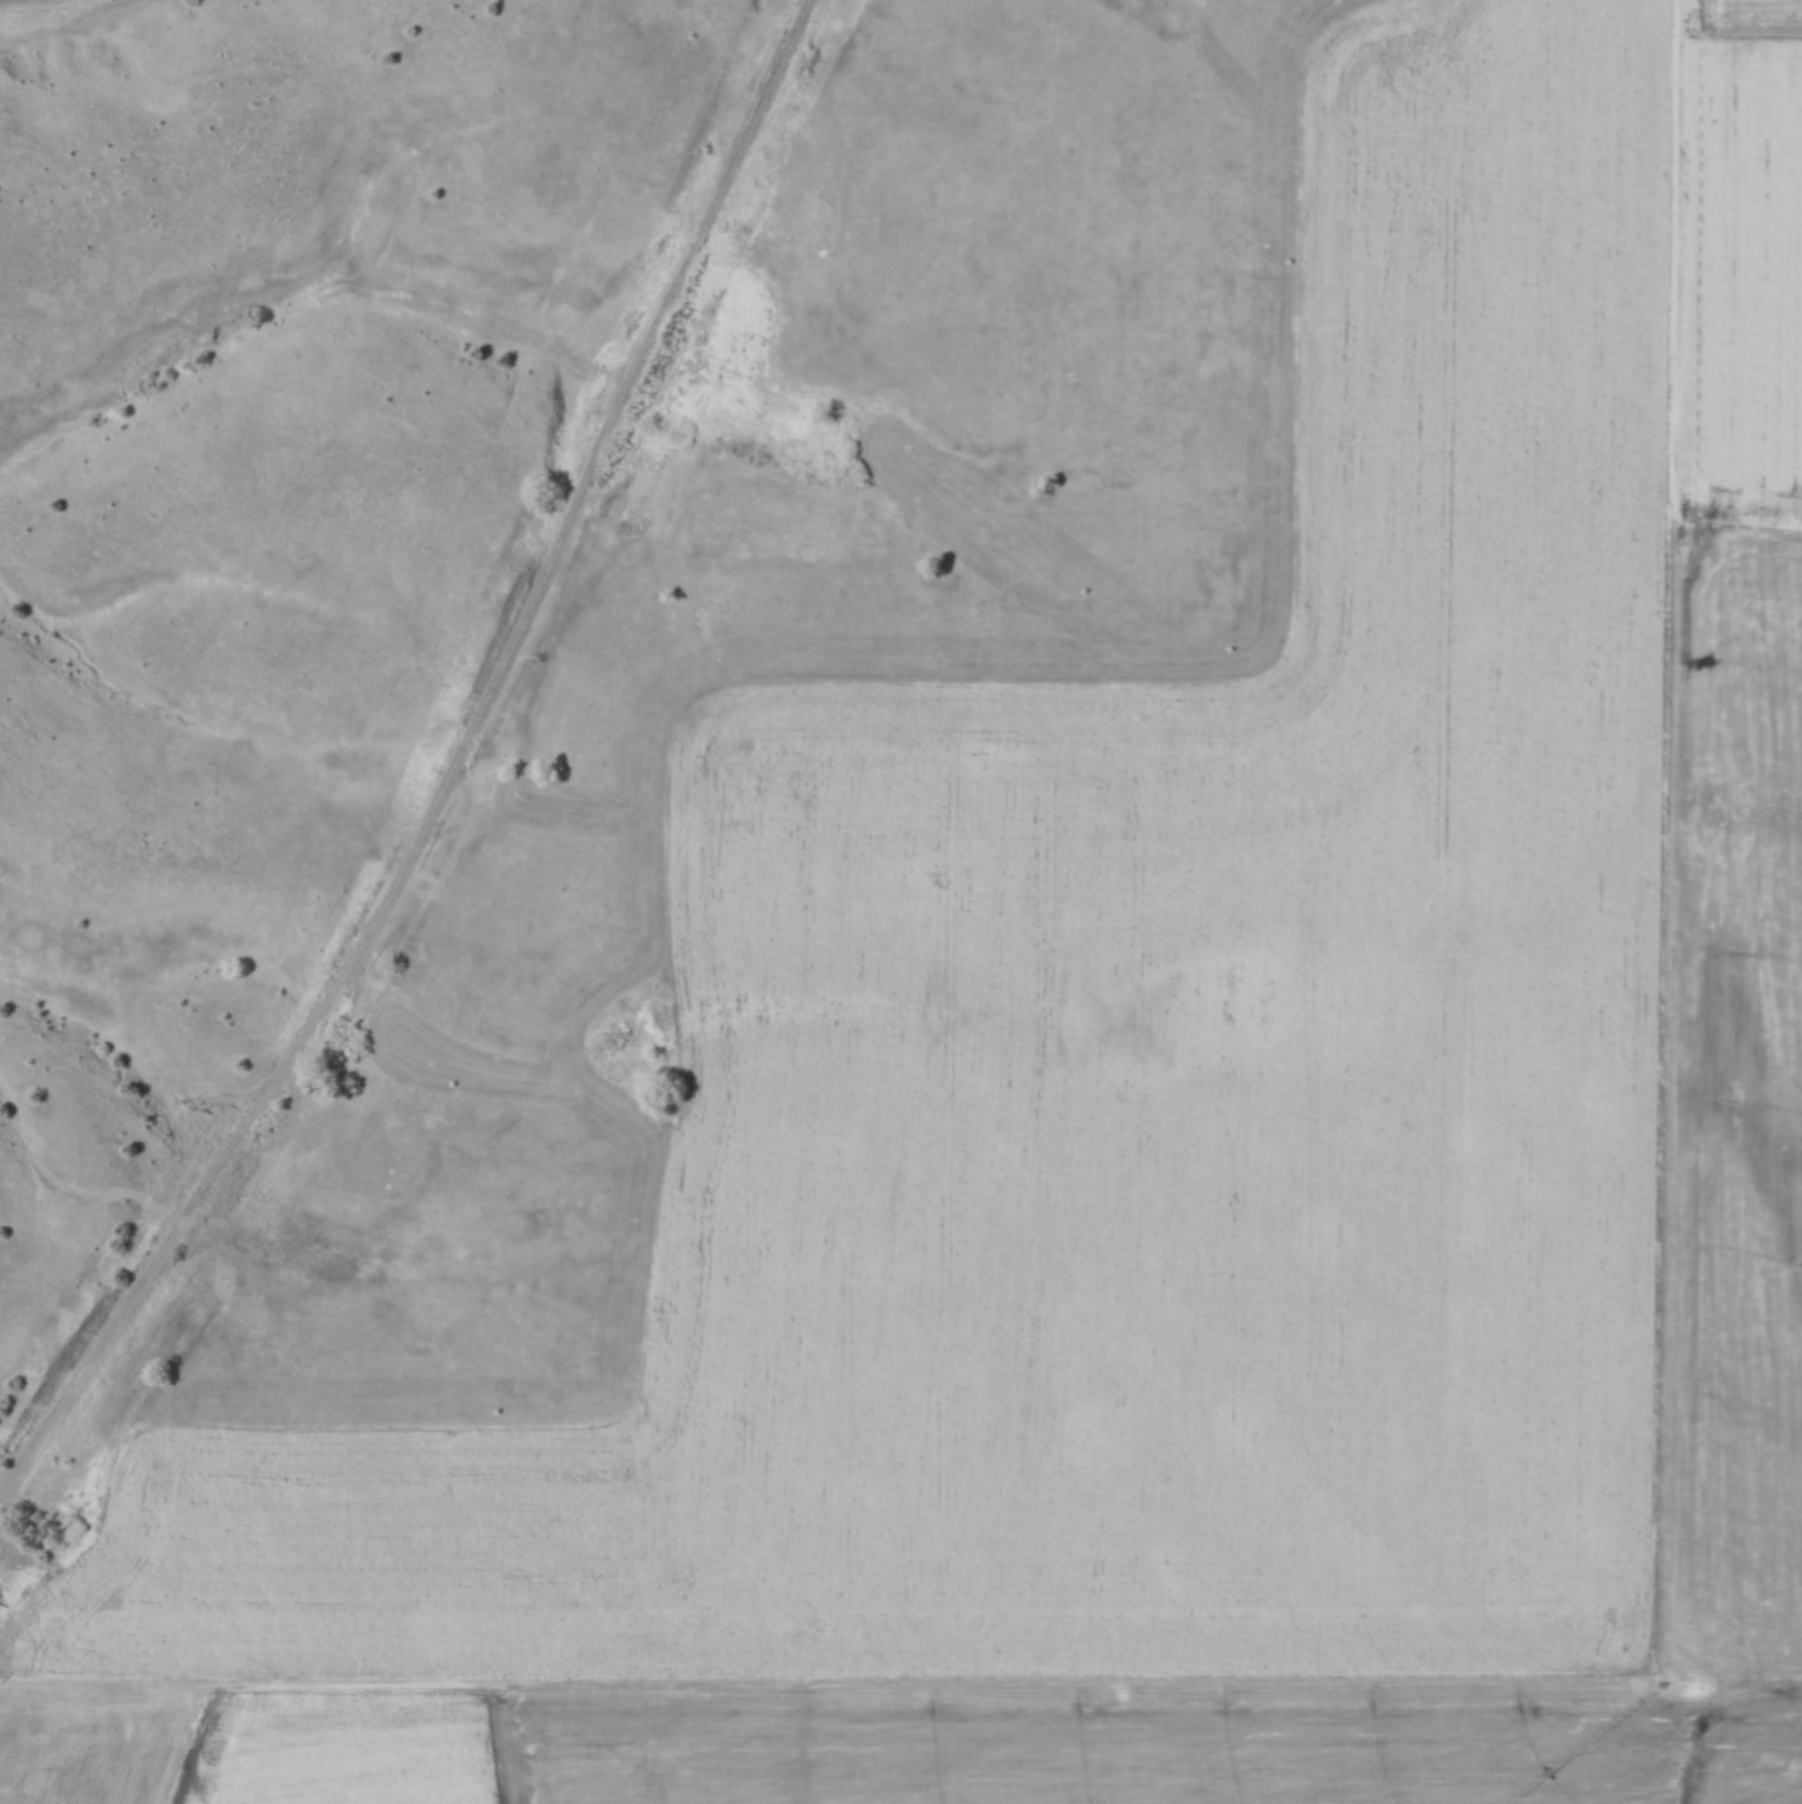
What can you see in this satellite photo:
railway: (481, 766)
crop: (101, 1740)

